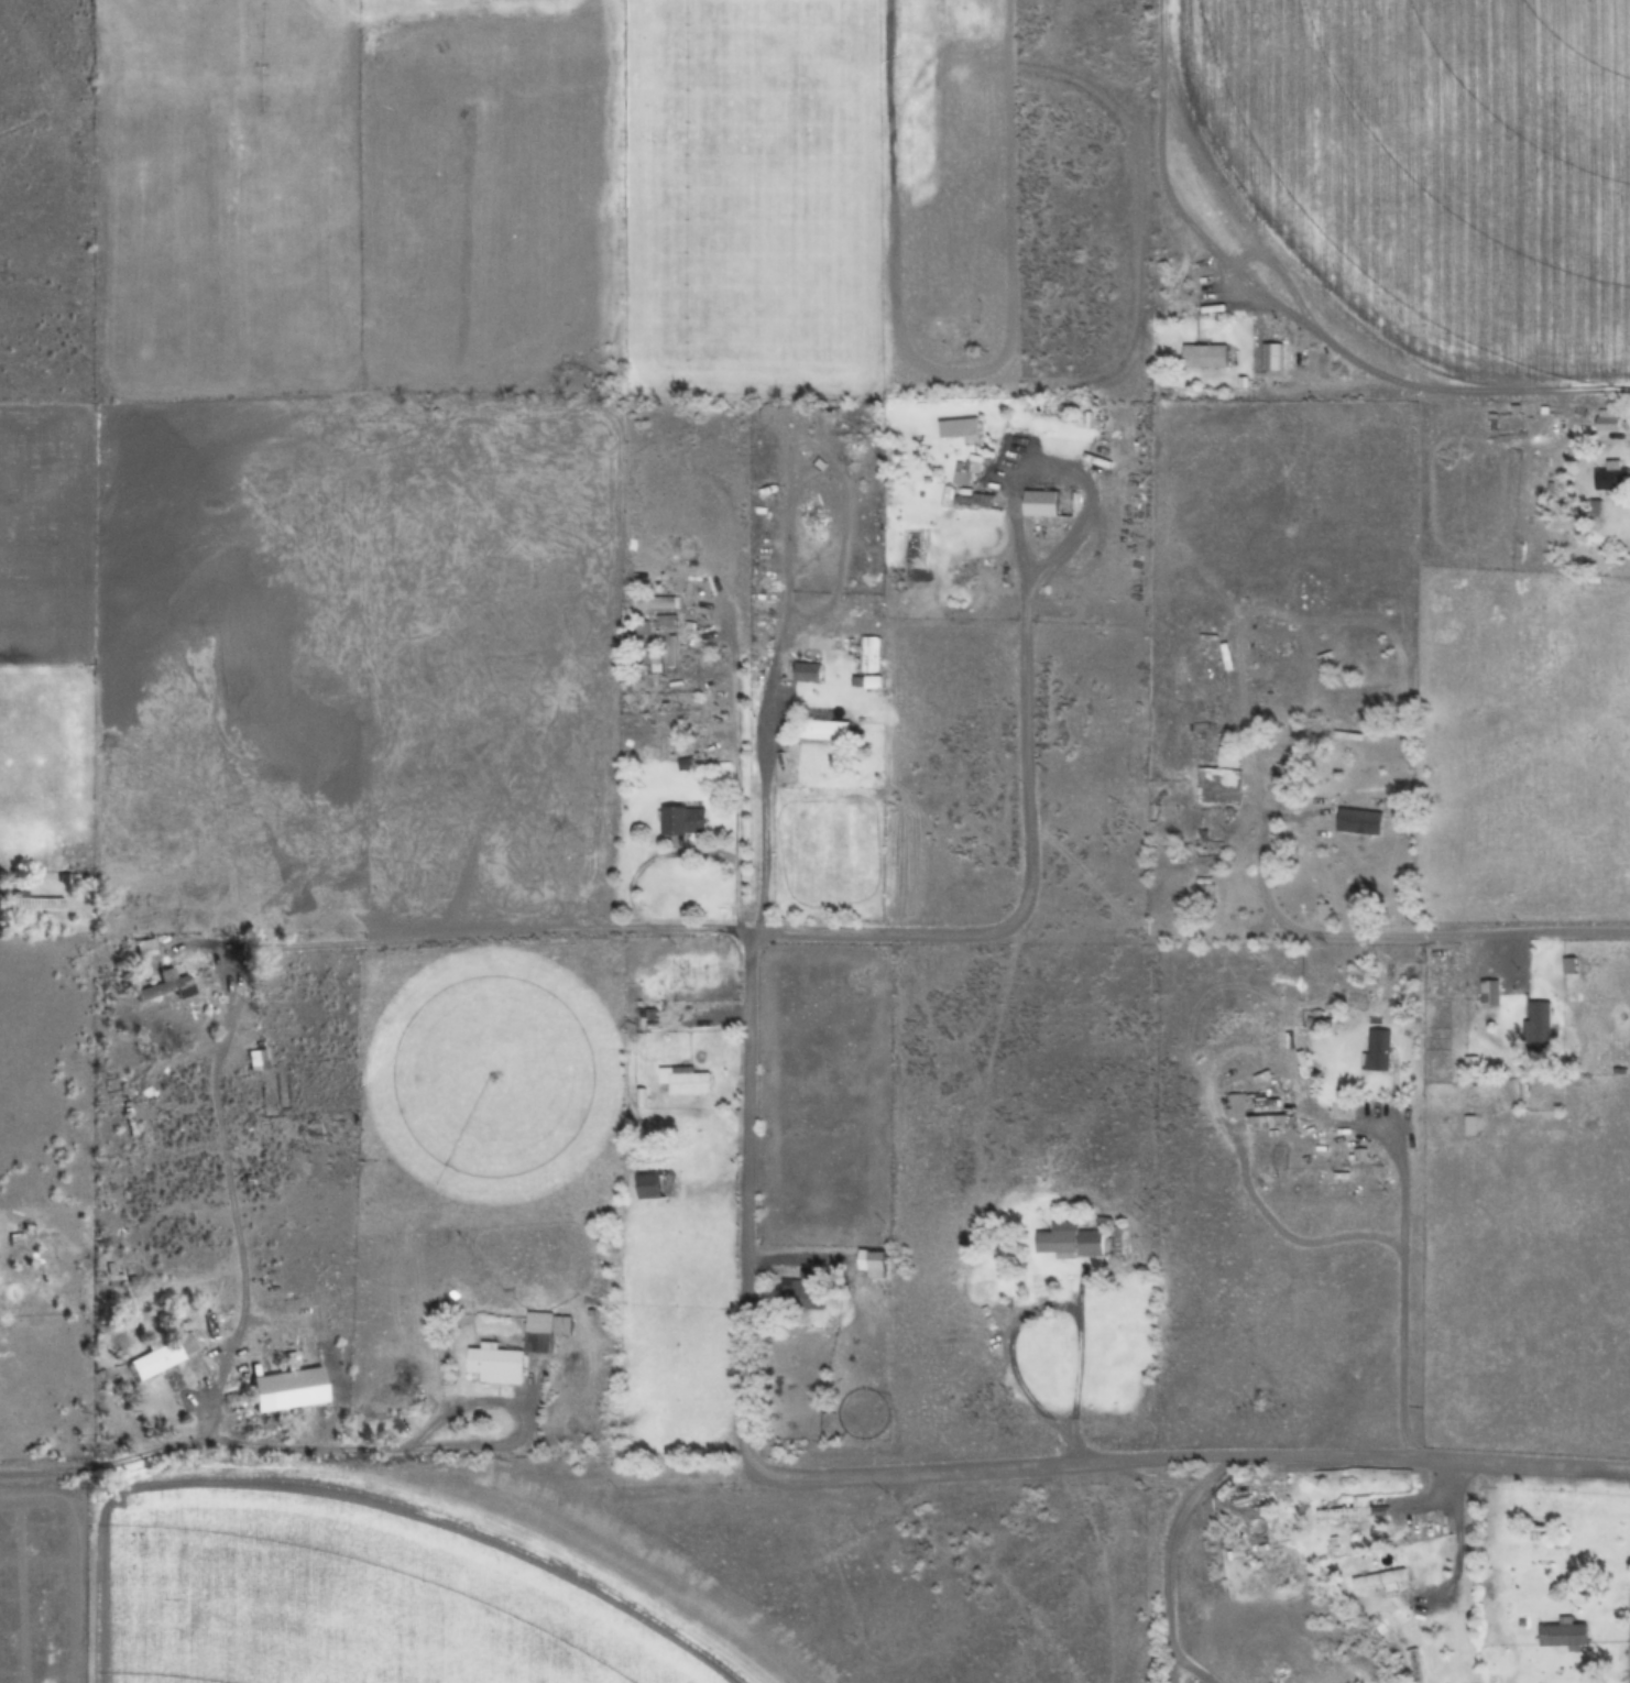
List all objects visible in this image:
building: (1206, 357)
building: (1273, 357)
building: (1607, 420)
building: (960, 430)
building: (1612, 477)
building: (963, 480)
building: (1041, 503)
building: (657, 603)
building: (657, 625)
building: (868, 655)
building: (808, 673)
building: (822, 726)
building: (1219, 787)
building: (686, 822)
building: (1361, 822)
crop: (814, 841)
building: (1207, 894)
building: (37, 904)
road: (1507, 935)
road: (811, 937)
building: (146, 952)
building: (169, 988)
building: (1490, 993)
building: (1539, 1026)
building: (1378, 1052)
building: (260, 1061)
building: (689, 1081)
building: (1268, 1122)
building: (650, 1187)
road: (741, 1210)
building: (1069, 1243)
building: (17, 1244)
building: (1116, 1253)
building: (876, 1264)
building: (802, 1292)
building: (539, 1348)
building: (1415, 1354)
building: (166, 1356)
building: (288, 1390)
road: (1349, 1455)
road: (535, 1476)
building: (1347, 1512)
road: (1160, 1555)
building: (1382, 1580)
building: (1563, 1635)
building: (1416, 1665)

